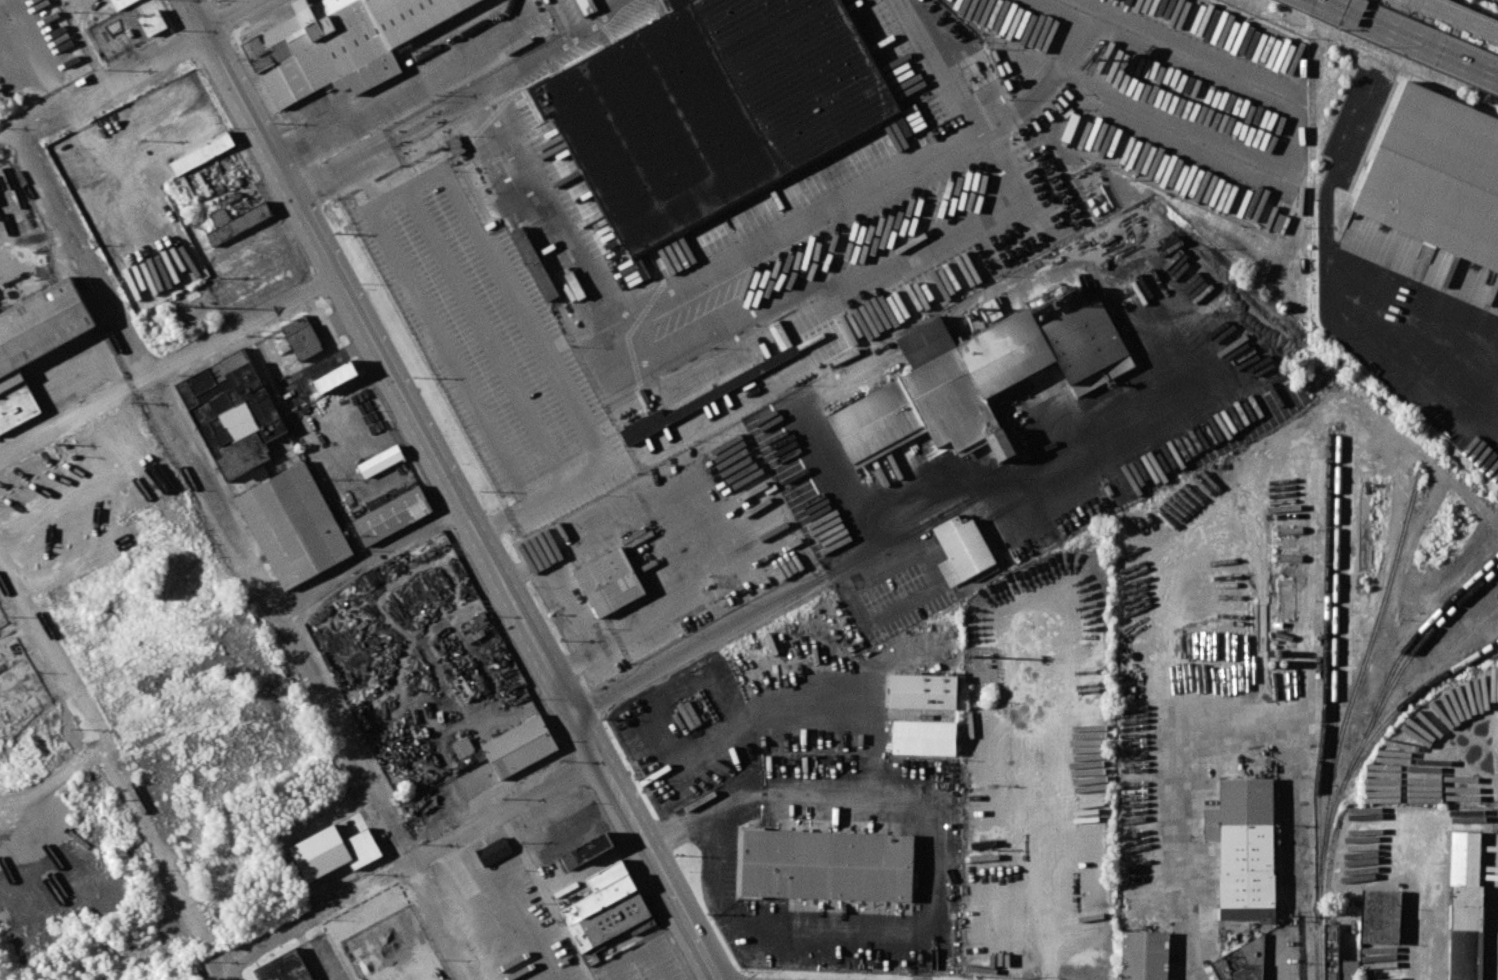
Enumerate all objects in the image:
wastewater plant: (1491, 2)
building: (120, 3)
road: (195, 15)
road: (230, 15)
road: (1454, 18)
building: (153, 21)
road: (1411, 36)
road: (1398, 42)
building: (343, 43)
parking lot: (29, 44)
road: (1386, 47)
road: (39, 53)
road: (1055, 76)
road: (113, 80)
road: (409, 91)
parking lot: (1181, 97)
building: (721, 108)
road: (387, 142)
building: (455, 146)
building: (202, 152)
building: (1437, 174)
building: (237, 220)
parking lot: (780, 243)
road: (245, 250)
road: (1331, 255)
road: (494, 264)
building: (536, 264)
road: (672, 295)
road: (246, 326)
parking lot: (1421, 328)
building: (302, 337)
road: (484, 337)
parking lot: (488, 340)
road: (330, 342)
building: (35, 343)
road: (448, 355)
road: (302, 374)
building: (335, 376)
building: (977, 380)
building: (233, 413)
road: (77, 414)
building: (651, 424)
road: (423, 436)
building: (383, 460)
parking lot: (129, 462)
road: (552, 494)
road: (965, 501)
building: (394, 516)
building: (296, 526)
building: (963, 549)
parking lot: (664, 552)
road: (246, 556)
road: (368, 560)
building: (611, 581)
road: (709, 640)
railway: (1335, 640)
railway: (1413, 640)
railway: (1403, 666)
railway: (1453, 669)
building: (924, 691)
railway: (1325, 705)
road: (1259, 709)
building: (925, 737)
building: (520, 746)
building: (463, 747)
road: (106, 749)
road: (694, 756)
parking lot: (1038, 770)
road: (1047, 791)
railway: (1339, 792)
building: (574, 821)
parking lot: (798, 827)
building: (582, 835)
road: (1183, 845)
building: (1245, 845)
building: (593, 848)
building: (494, 850)
building: (335, 851)
road: (414, 861)
building: (828, 864)
building: (608, 875)
road: (933, 876)
road: (1303, 878)
road: (545, 897)
building: (600, 899)
road: (1426, 899)
building: (1464, 908)
road: (683, 910)
building: (1380, 916)
building: (611, 924)
building: (1331, 951)
building: (1145, 955)
building: (1241, 961)
building: (286, 967)
building: (1347, 970)
road: (229, 972)

